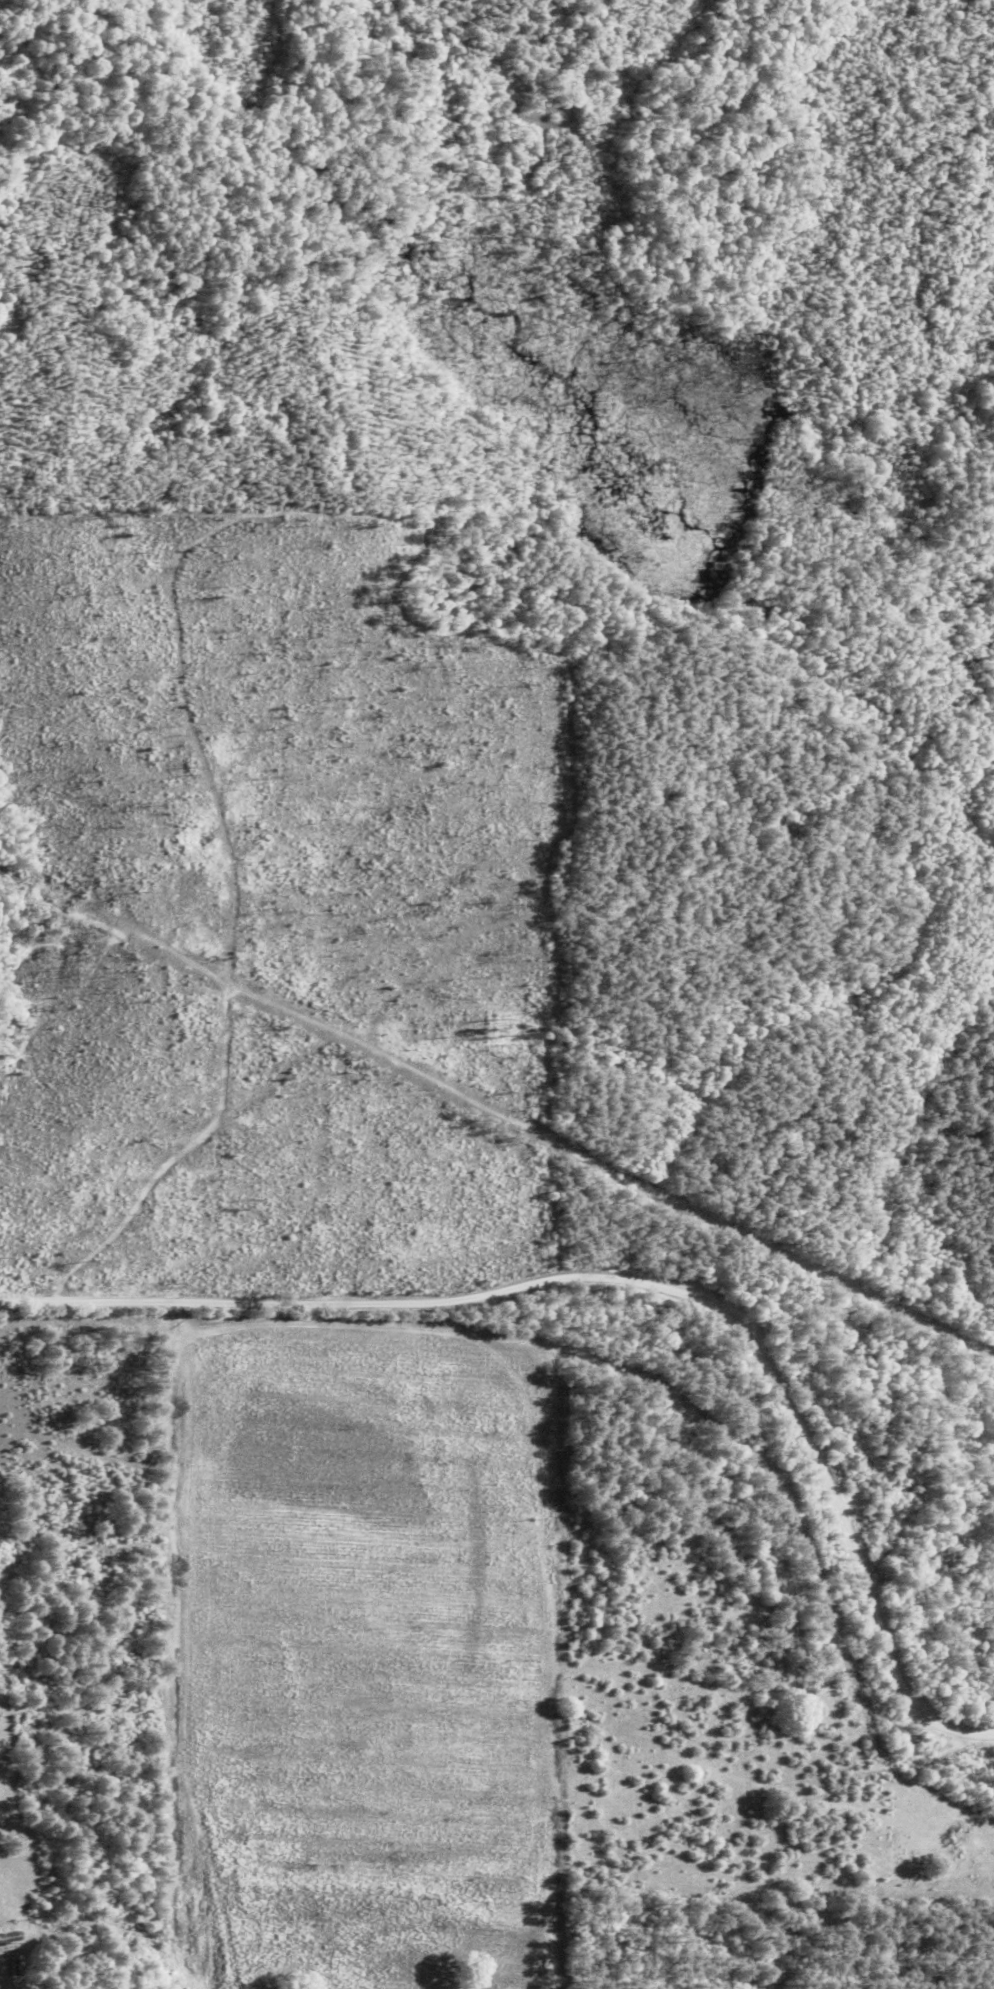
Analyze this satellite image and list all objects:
road: (631, 1282)
building: (10, 1944)

